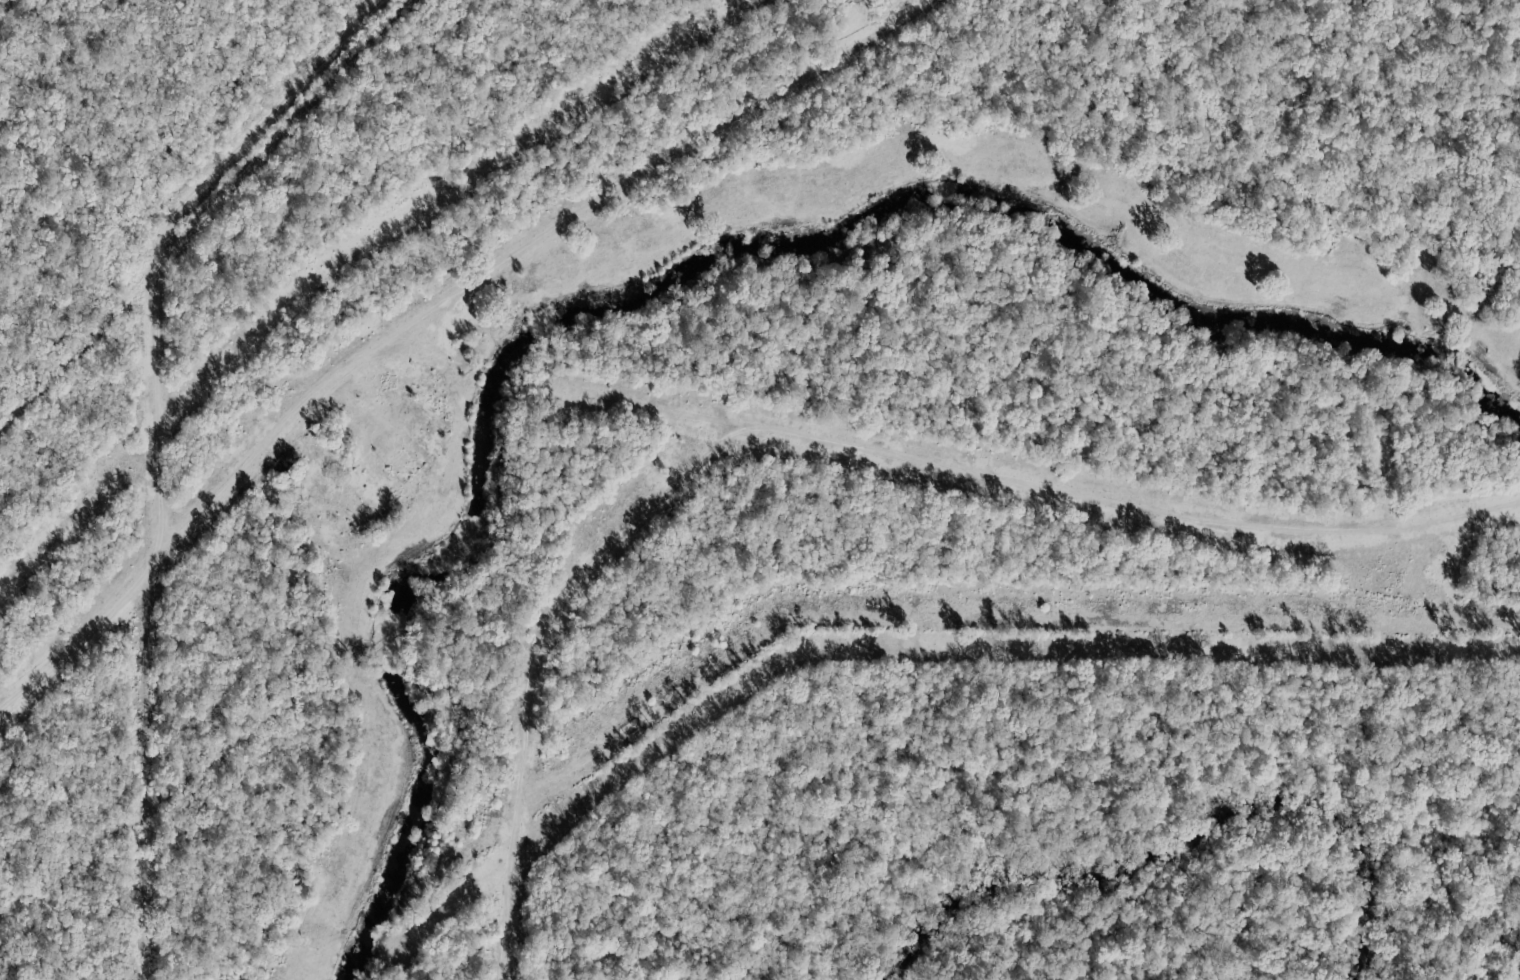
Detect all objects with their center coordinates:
road: (668, 161)
river: (691, 267)
road: (166, 352)
road: (294, 421)
road: (819, 442)

